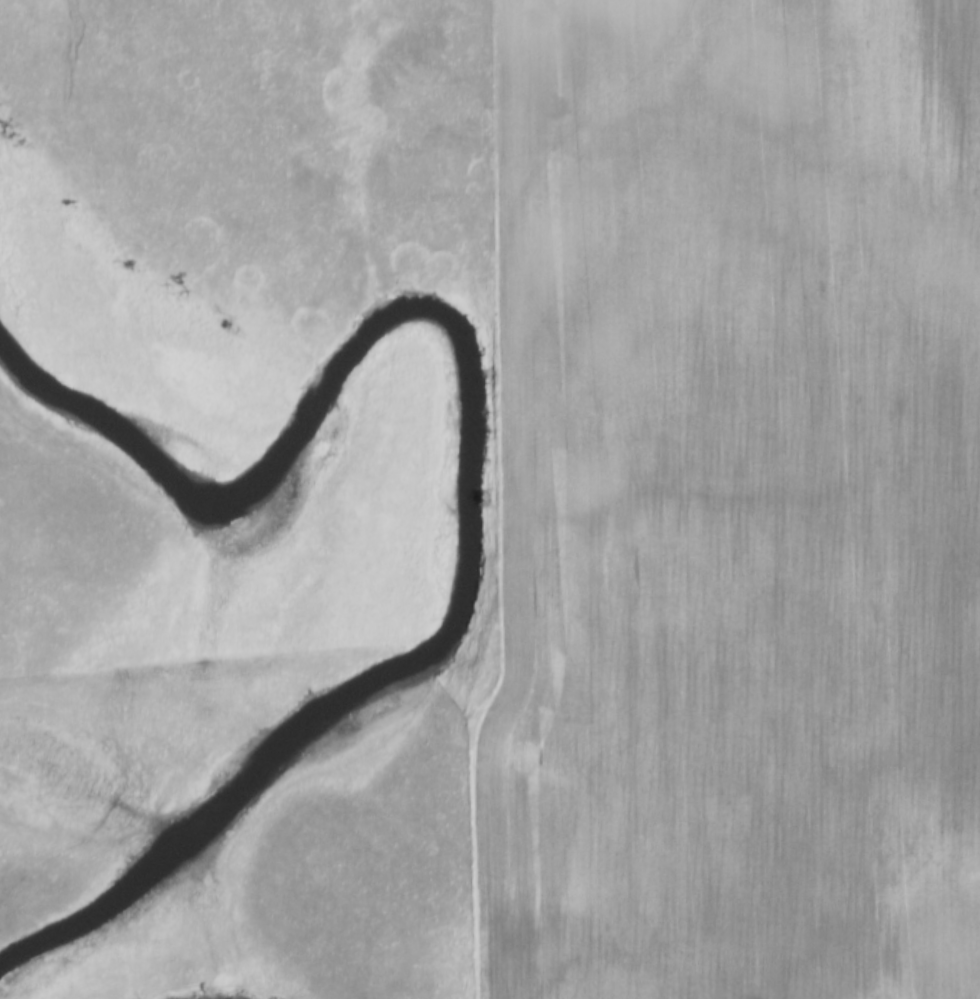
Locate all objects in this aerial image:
river: (443, 467)

